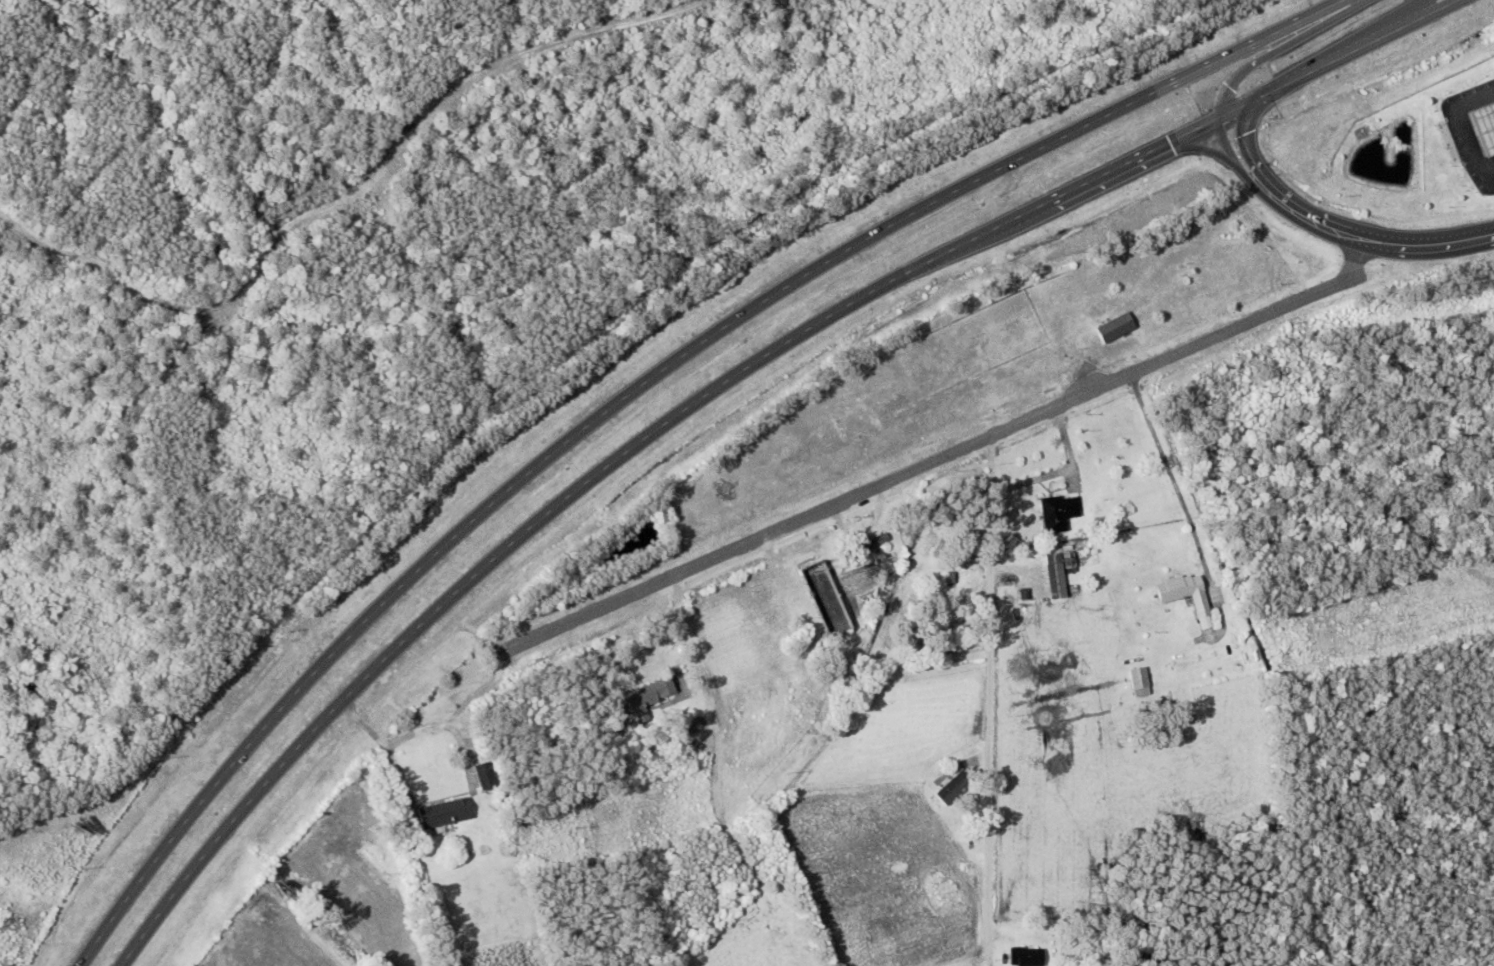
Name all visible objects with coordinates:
road: (1277, 48)
traffic signals: (1219, 115)
building: (1440, 116)
road: (1456, 126)
building: (1360, 154)
building: (1422, 160)
building: (1461, 185)
road: (1318, 223)
road: (1480, 236)
building: (1114, 328)
road: (631, 386)
road: (712, 390)
road: (941, 455)
road: (1171, 482)
building: (1058, 512)
building: (875, 543)
building: (1183, 592)
building: (825, 599)
building: (1139, 678)
building: (639, 696)
road: (993, 697)
road: (448, 726)
road: (387, 741)
building: (950, 790)
building: (444, 815)
building: (1024, 957)

